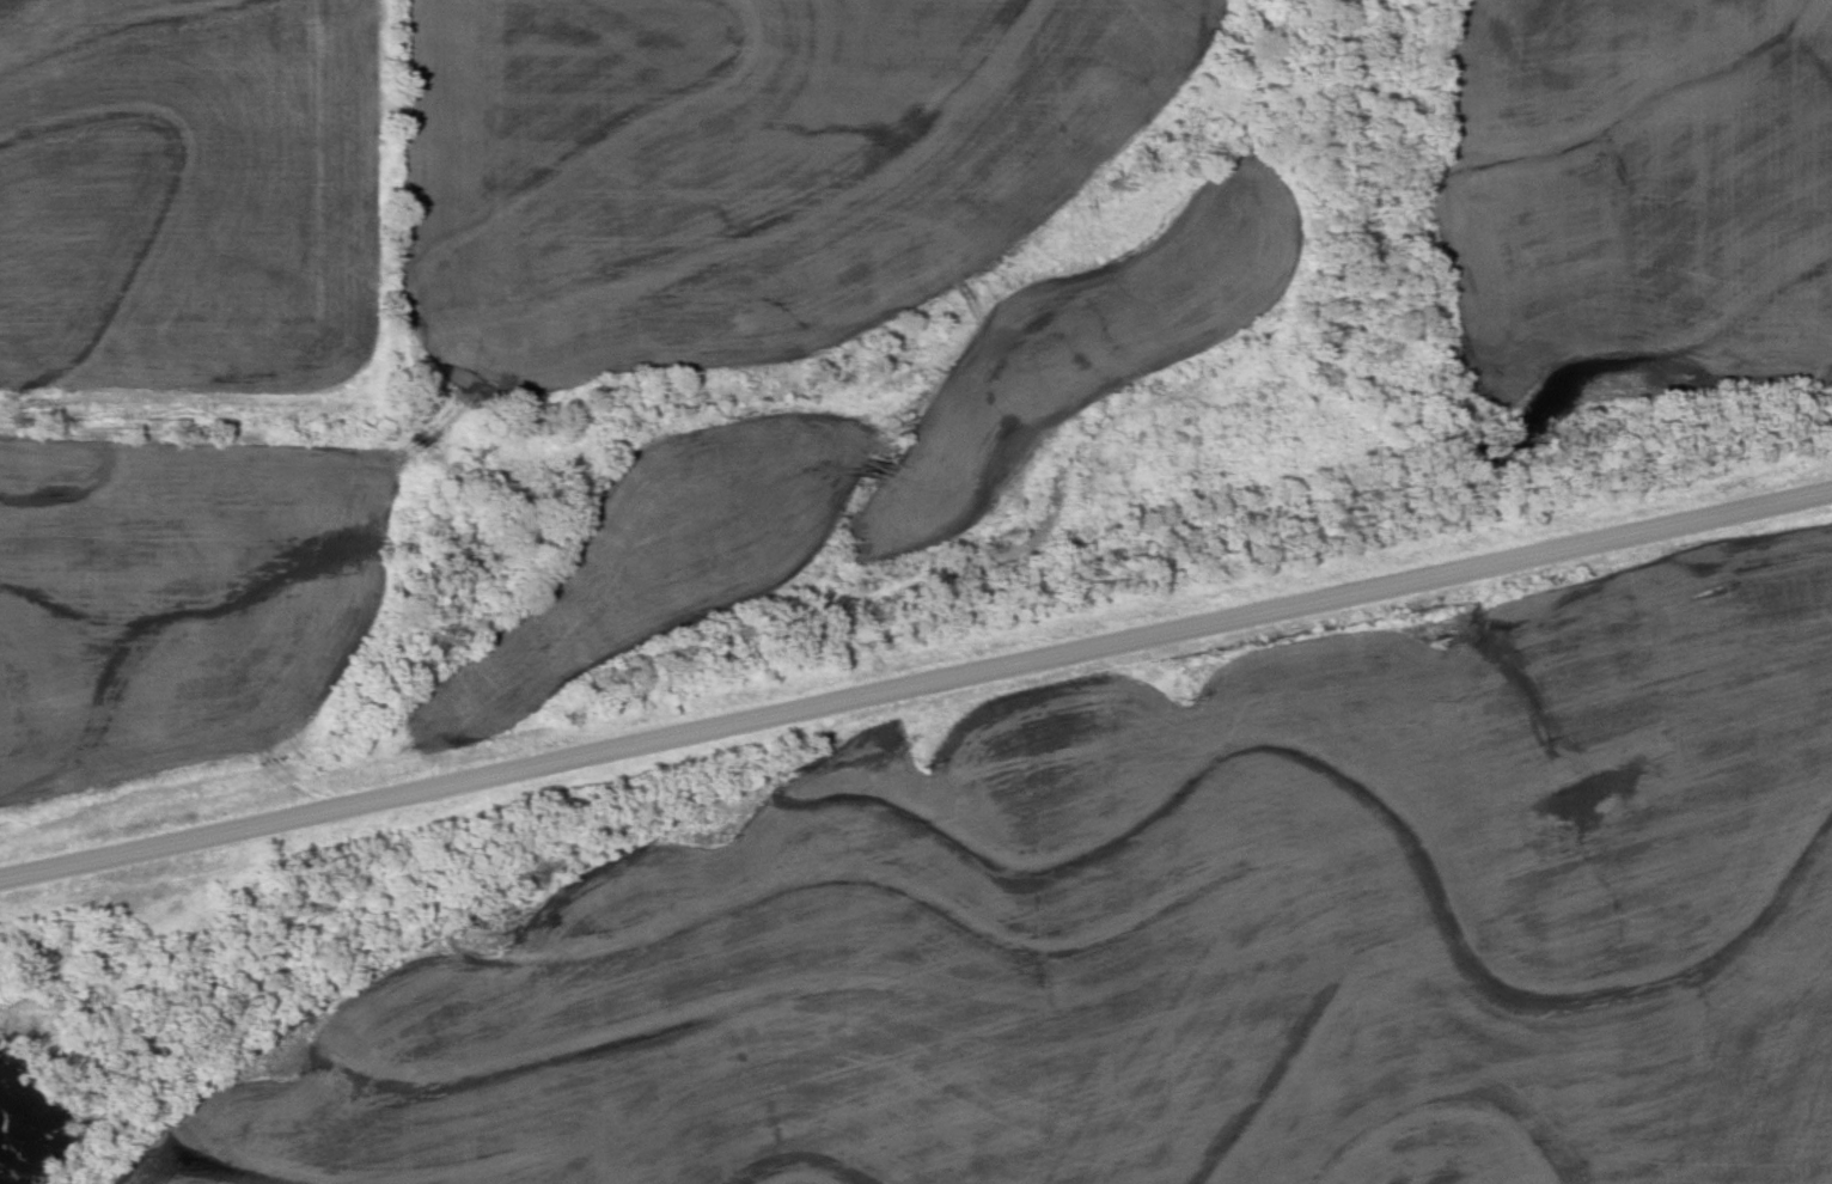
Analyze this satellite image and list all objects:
crop: (749, 165)
crop: (188, 195)
crop: (1631, 200)
crop: (868, 456)
crop: (176, 603)
road: (916, 686)
crop: (1179, 935)

